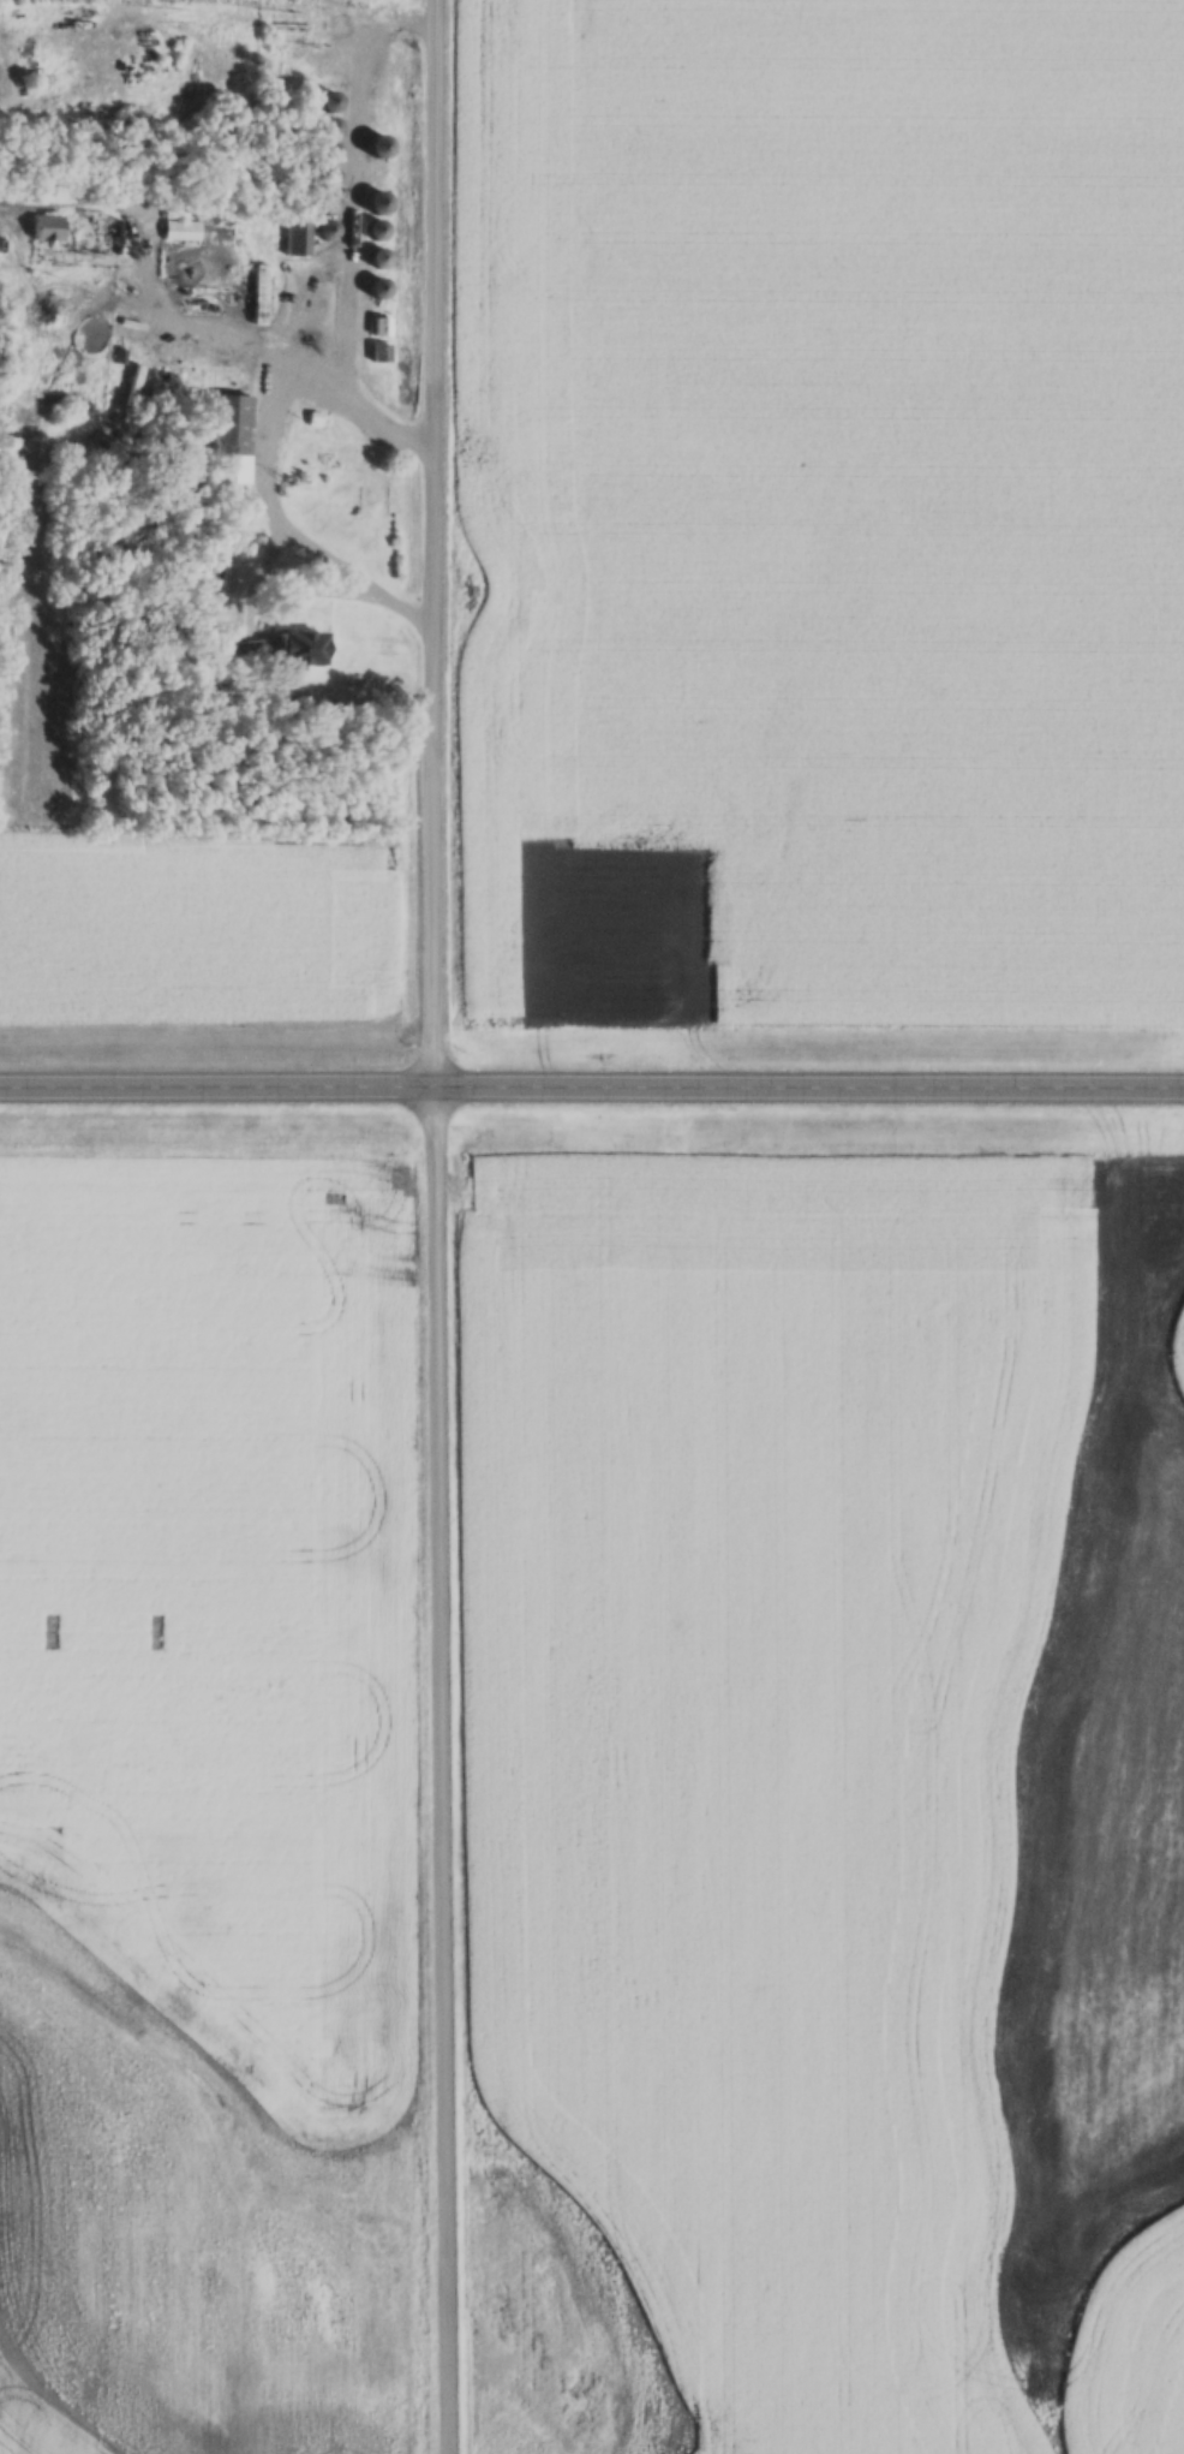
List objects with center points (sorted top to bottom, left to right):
building: (324, 102)
building: (324, 129)
building: (372, 148)
building: (323, 155)
building: (324, 183)
building: (372, 204)
building: (322, 206)
building: (54, 231)
building: (372, 231)
building: (177, 232)
building: (294, 238)
building: (372, 261)
building: (372, 291)
building: (257, 296)
building: (377, 328)
building: (377, 355)
building: (228, 440)
building: (283, 648)
road: (592, 1082)
road: (431, 1227)

